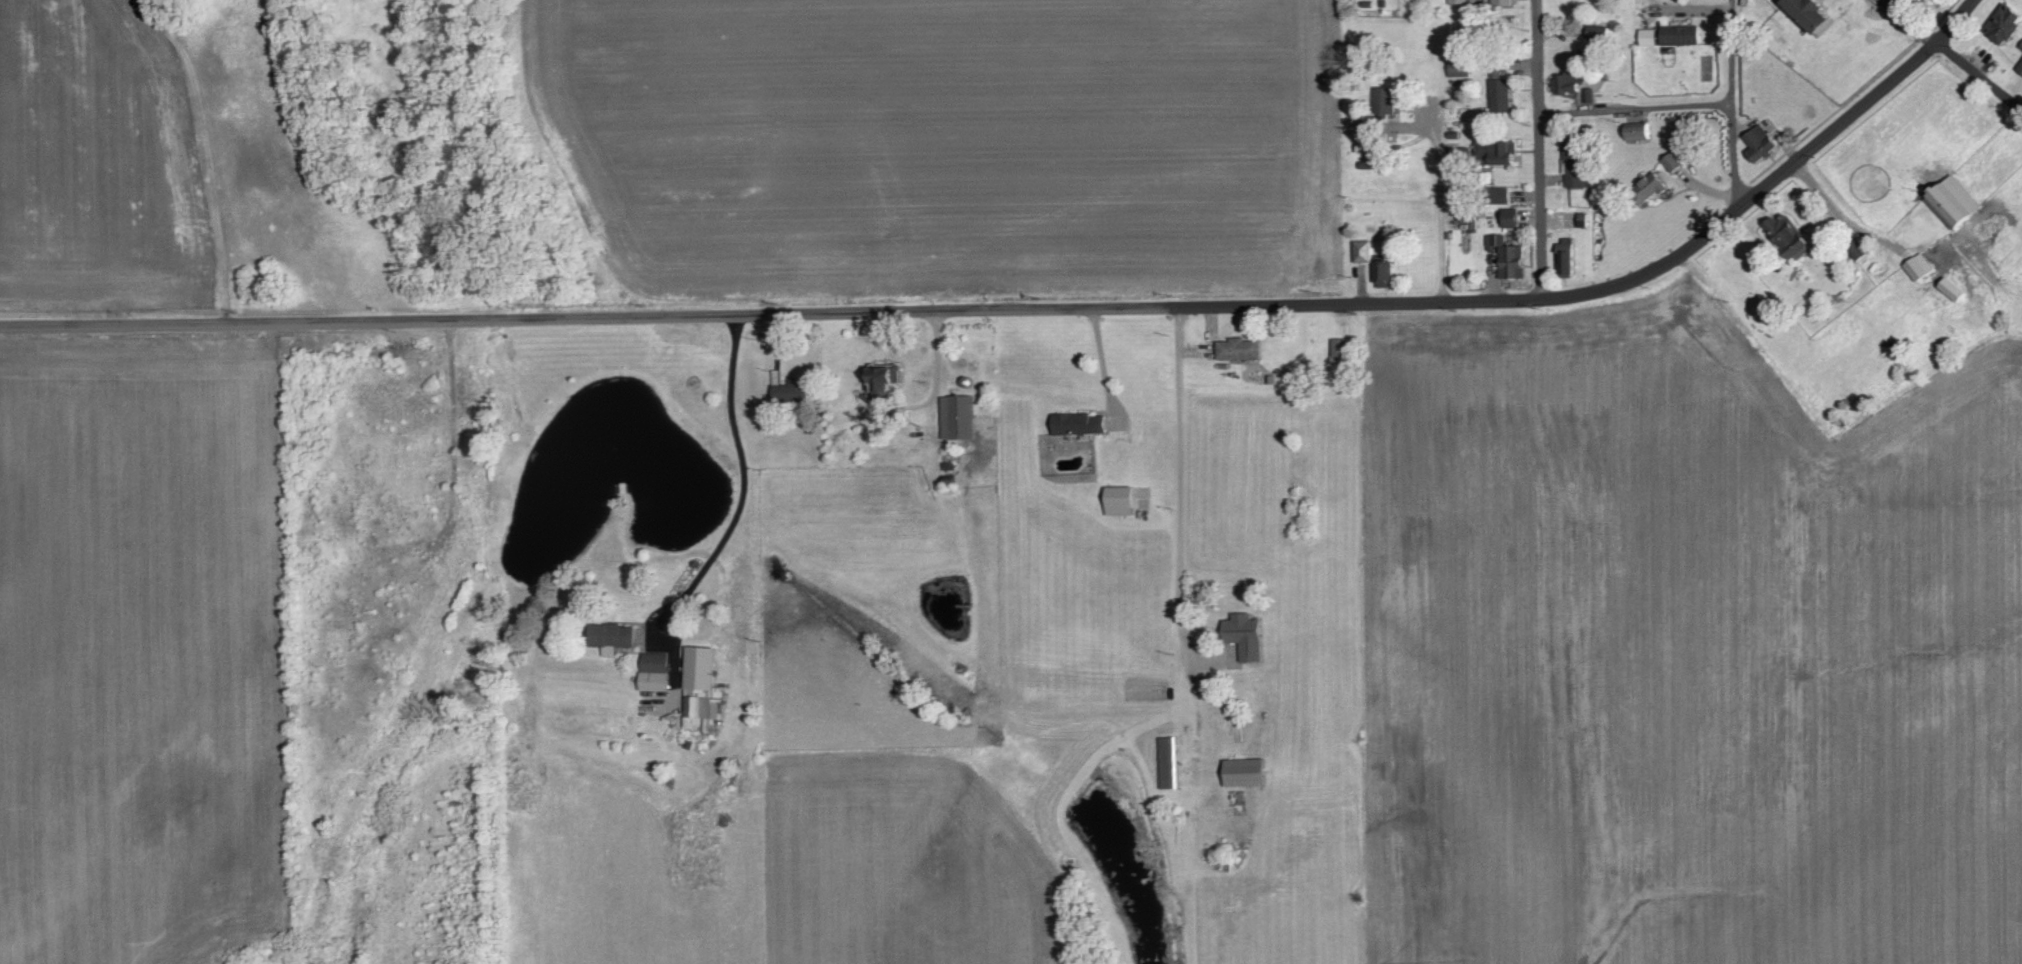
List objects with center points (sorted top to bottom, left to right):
building: (1458, 2)
building: (1503, 2)
building: (1811, 14)
building: (2005, 24)
building: (1681, 35)
building: (1649, 37)
building: (2021, 47)
road: (1950, 55)
building: (2020, 67)
building: (1460, 68)
building: (1568, 84)
building: (1501, 95)
building: (1386, 101)
road: (1729, 103)
road: (2021, 107)
road: (1634, 110)
building: (1639, 133)
building: (1761, 143)
road: (1539, 149)
building: (1497, 153)
building: (1674, 162)
building: (1576, 164)
building: (1652, 189)
building: (1500, 195)
building: (1955, 202)
road: (1746, 203)
building: (1511, 218)
building: (1789, 236)
building: (1861, 250)
building: (1364, 252)
building: (1567, 256)
building: (1509, 258)
building: (1920, 267)
building: (1385, 274)
building: (1953, 289)
road: (733, 313)
building: (1342, 348)
building: (1239, 350)
building: (884, 381)
building: (792, 391)
building: (958, 418)
building: (1078, 424)
road: (742, 477)
building: (1120, 502)
building: (1245, 636)
building: (612, 638)
building: (655, 673)
building: (702, 690)
building: (1169, 763)
building: (1245, 773)

